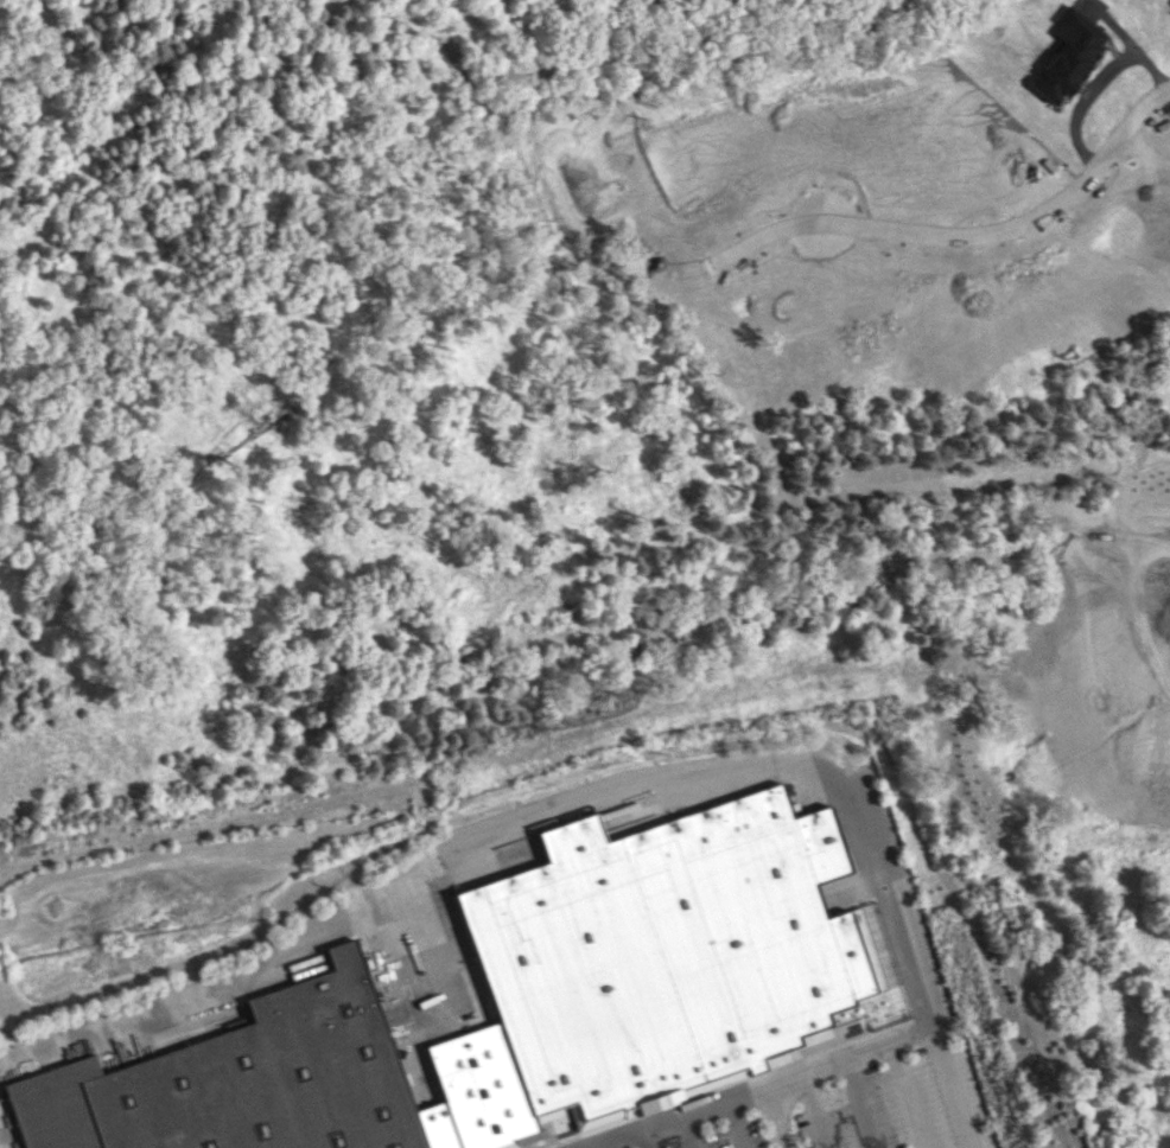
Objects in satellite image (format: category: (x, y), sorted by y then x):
road: (969, 223)
road: (533, 812)
building: (609, 971)
raceway: (888, 976)
building: (237, 1080)
road: (952, 1083)
building: (478, 1088)
road: (756, 1089)
road: (909, 1095)
road: (863, 1103)
parking lot: (908, 1105)
road: (818, 1110)
road: (772, 1117)
road: (735, 1123)
road: (688, 1131)
parking lot: (726, 1135)
road: (646, 1139)
road: (593, 1147)

